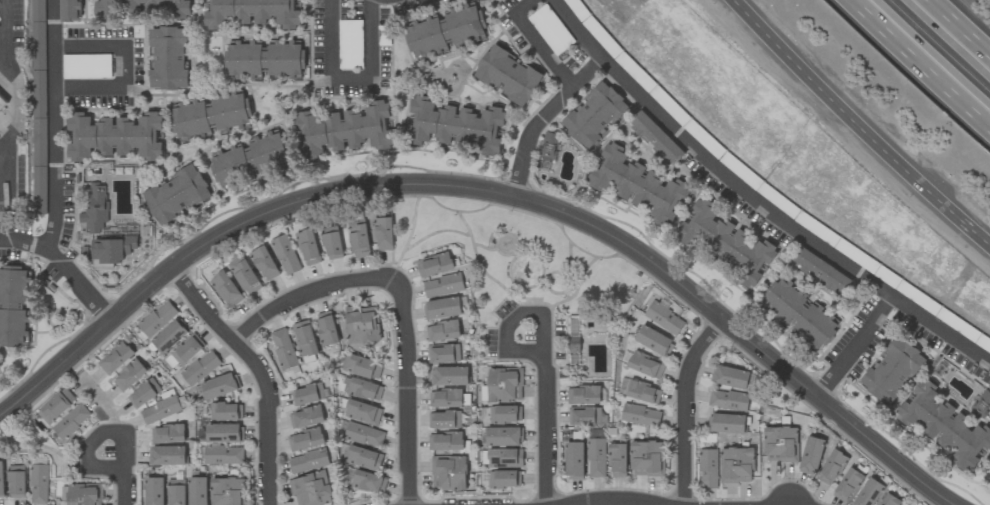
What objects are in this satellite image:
building: (143, 8)
building: (69, 9)
building: (252, 13)
building: (446, 31)
road: (955, 33)
road: (539, 43)
building: (169, 59)
building: (265, 60)
road: (127, 66)
road: (918, 66)
building: (86, 67)
road: (350, 74)
building: (508, 75)
road: (12, 85)
building: (1, 105)
building: (38, 107)
building: (595, 115)
building: (210, 116)
road: (541, 118)
road: (54, 124)
building: (455, 125)
road: (856, 127)
building: (343, 130)
building: (113, 136)
building: (656, 138)
building: (549, 146)
building: (251, 158)
building: (639, 185)
road: (489, 192)
building: (176, 195)
road: (756, 201)
building: (95, 208)
building: (384, 234)
building: (358, 235)
building: (726, 242)
building: (332, 243)
building: (308, 247)
building: (112, 251)
building: (286, 255)
building: (265, 263)
building: (434, 264)
road: (63, 268)
building: (823, 271)
building: (245, 275)
building: (443, 285)
building: (226, 289)
road: (309, 294)
building: (784, 302)
building: (13, 304)
building: (442, 308)
building: (664, 318)
building: (157, 319)
road: (517, 321)
building: (362, 325)
building: (816, 327)
building: (327, 328)
building: (442, 331)
building: (170, 336)
building: (304, 338)
building: (654, 341)
building: (283, 349)
road: (855, 349)
building: (183, 352)
building: (443, 353)
building: (115, 358)
building: (645, 365)
building: (361, 367)
building: (200, 368)
building: (893, 370)
road: (259, 372)
building: (129, 376)
building: (450, 376)
building: (731, 377)
building: (504, 385)
building: (219, 386)
building: (364, 390)
road: (409, 392)
building: (643, 392)
building: (143, 393)
building: (307, 394)
building: (583, 395)
building: (445, 398)
building: (728, 400)
building: (985, 402)
road: (105, 404)
building: (56, 406)
road: (686, 406)
building: (161, 409)
building: (226, 411)
building: (362, 412)
building: (505, 414)
building: (640, 415)
building: (584, 416)
building: (306, 417)
building: (444, 420)
building: (71, 422)
building: (728, 423)
building: (945, 425)
road: (548, 429)
building: (224, 433)
building: (168, 434)
building: (363, 435)
building: (503, 436)
building: (305, 439)
building: (445, 441)
road: (99, 442)
building: (781, 444)
building: (223, 455)
building: (811, 455)
building: (167, 456)
building: (363, 458)
building: (504, 458)
building: (596, 458)
building: (647, 459)
building: (574, 460)
building: (617, 460)
building: (308, 461)
building: (736, 465)
building: (832, 467)
building: (708, 469)
building: (448, 473)
building: (504, 479)
building: (1, 480)
building: (17, 481)
building: (369, 481)
building: (39, 484)
building: (848, 485)
road: (129, 486)
building: (311, 489)
building: (154, 491)
building: (198, 491)
building: (227, 491)
building: (176, 492)
building: (869, 492)
road: (612, 500)
building: (890, 500)

